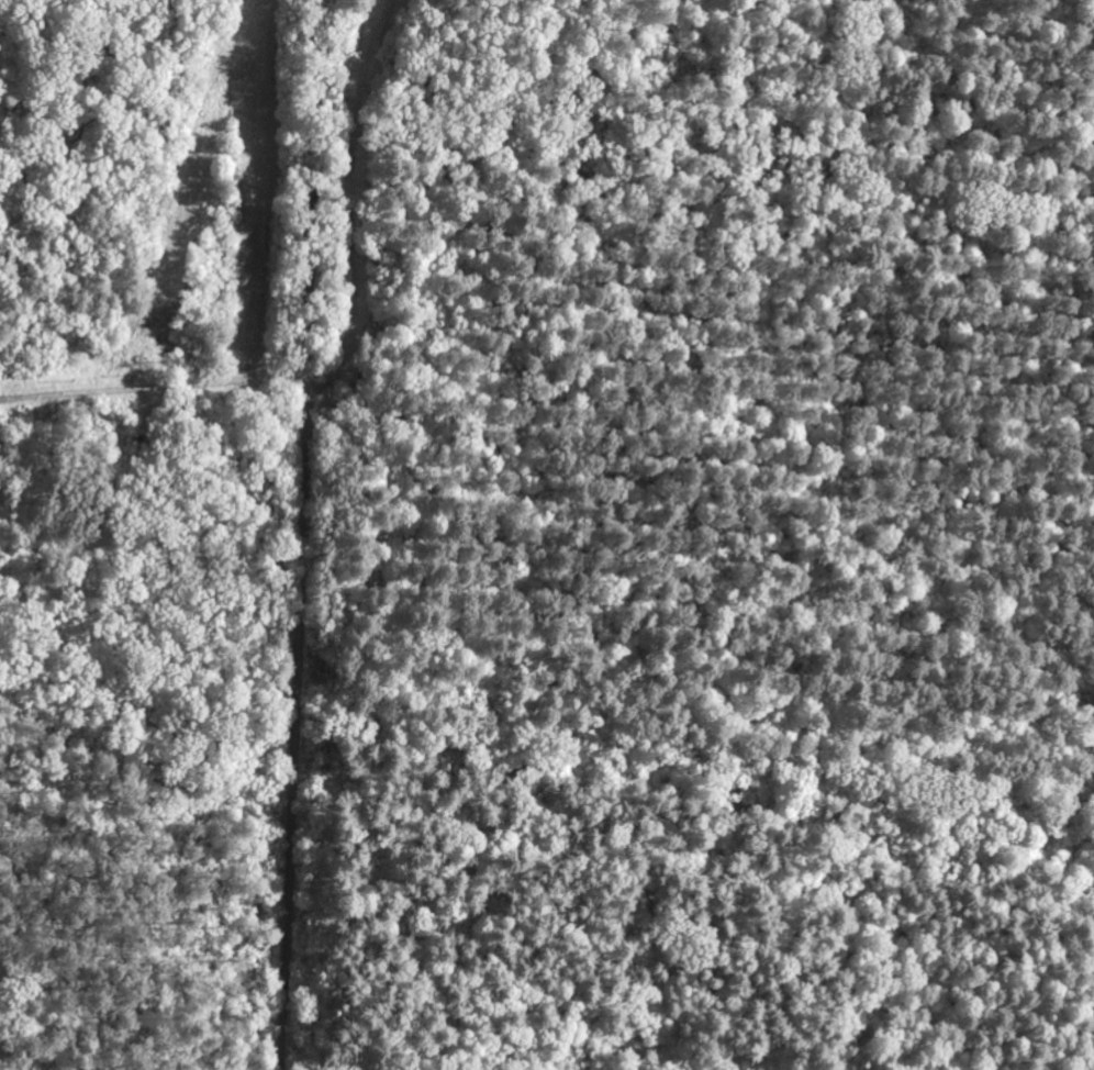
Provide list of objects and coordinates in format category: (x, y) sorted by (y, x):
road: (302, 535)

